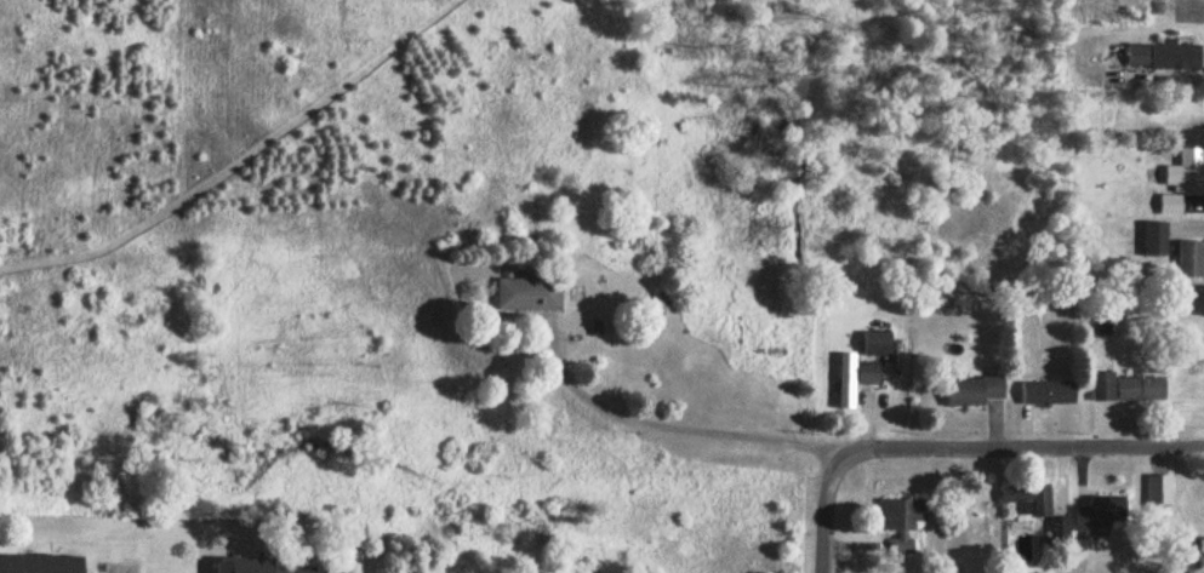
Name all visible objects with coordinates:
building: (1165, 58)
building: (1188, 173)
building: (1172, 206)
building: (1157, 240)
building: (1191, 260)
building: (529, 296)
building: (879, 344)
building: (856, 379)
building: (1126, 389)
building: (976, 392)
building: (1049, 396)
road: (678, 428)
road: (1021, 454)
building: (1159, 488)
building: (1029, 499)
building: (1103, 508)
building: (901, 511)
road: (824, 514)
building: (1061, 526)
building: (906, 546)
building: (1198, 552)
building: (40, 565)
building: (266, 567)

